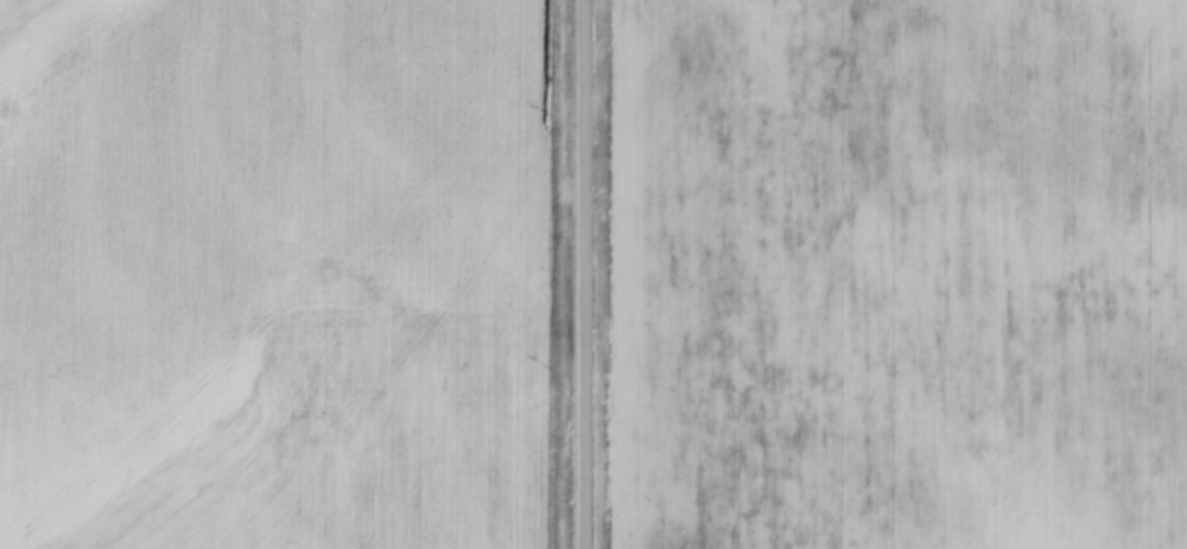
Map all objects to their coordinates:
road: (589, 274)

